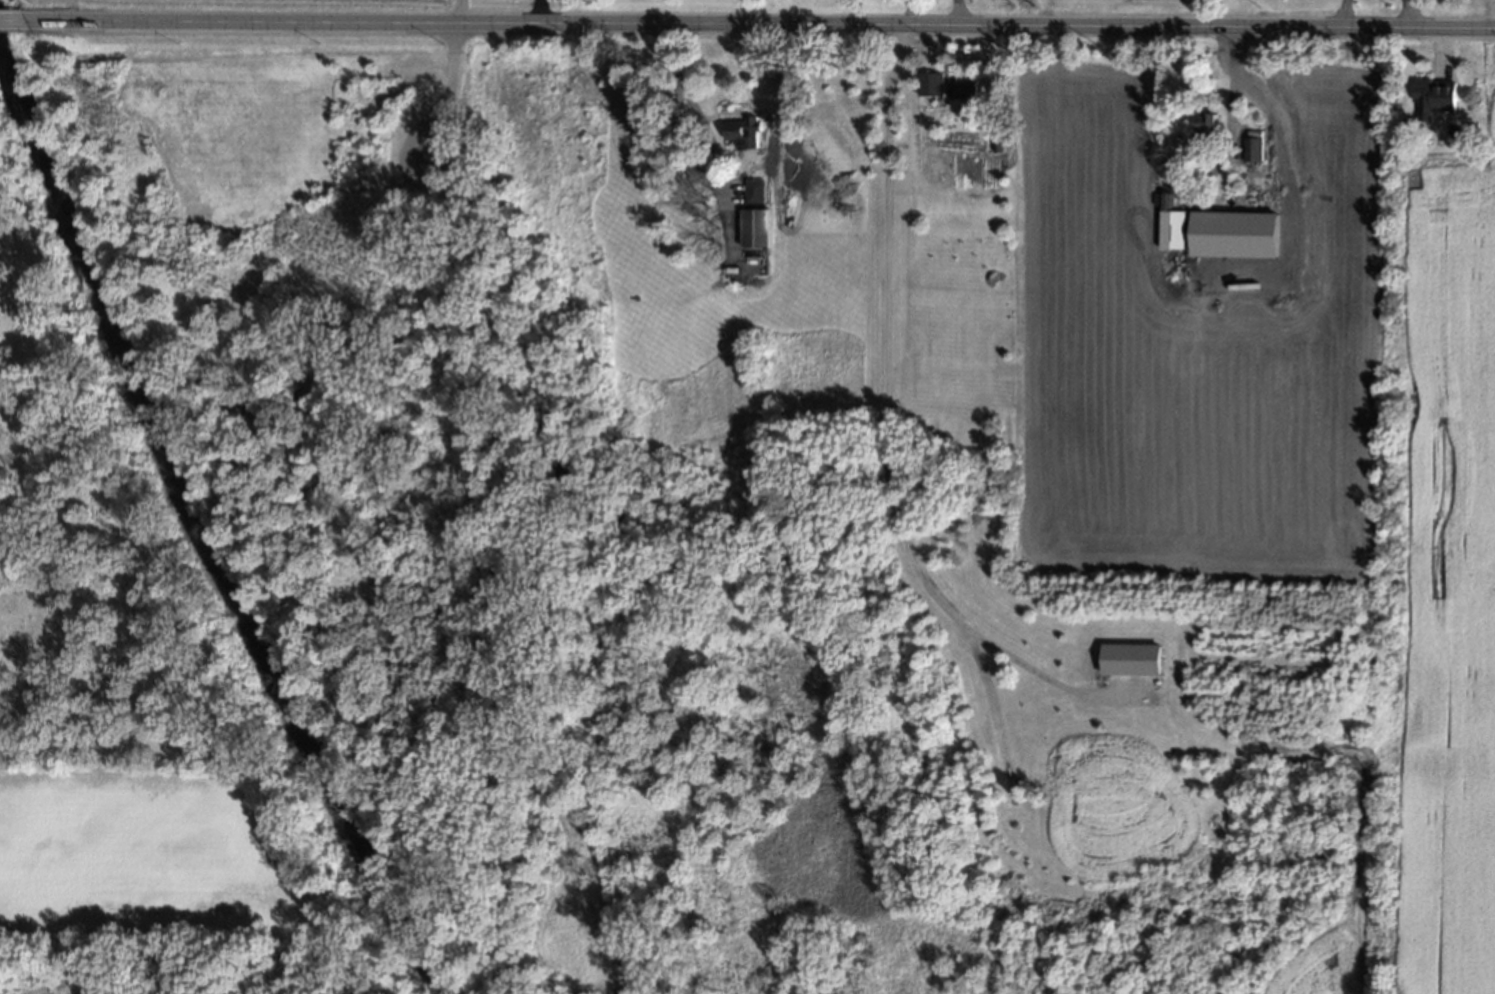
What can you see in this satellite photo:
crop: (368, 2)
road: (536, 14)
road: (1493, 17)
road: (9, 25)
road: (756, 30)
building: (931, 85)
building: (963, 91)
road: (680, 92)
building: (1434, 98)
building: (1206, 124)
building: (742, 133)
building: (1254, 150)
road: (1285, 188)
building: (755, 192)
building: (1173, 226)
building: (754, 229)
building: (1236, 235)
road: (888, 424)
crop: (1284, 438)
building: (1131, 660)

